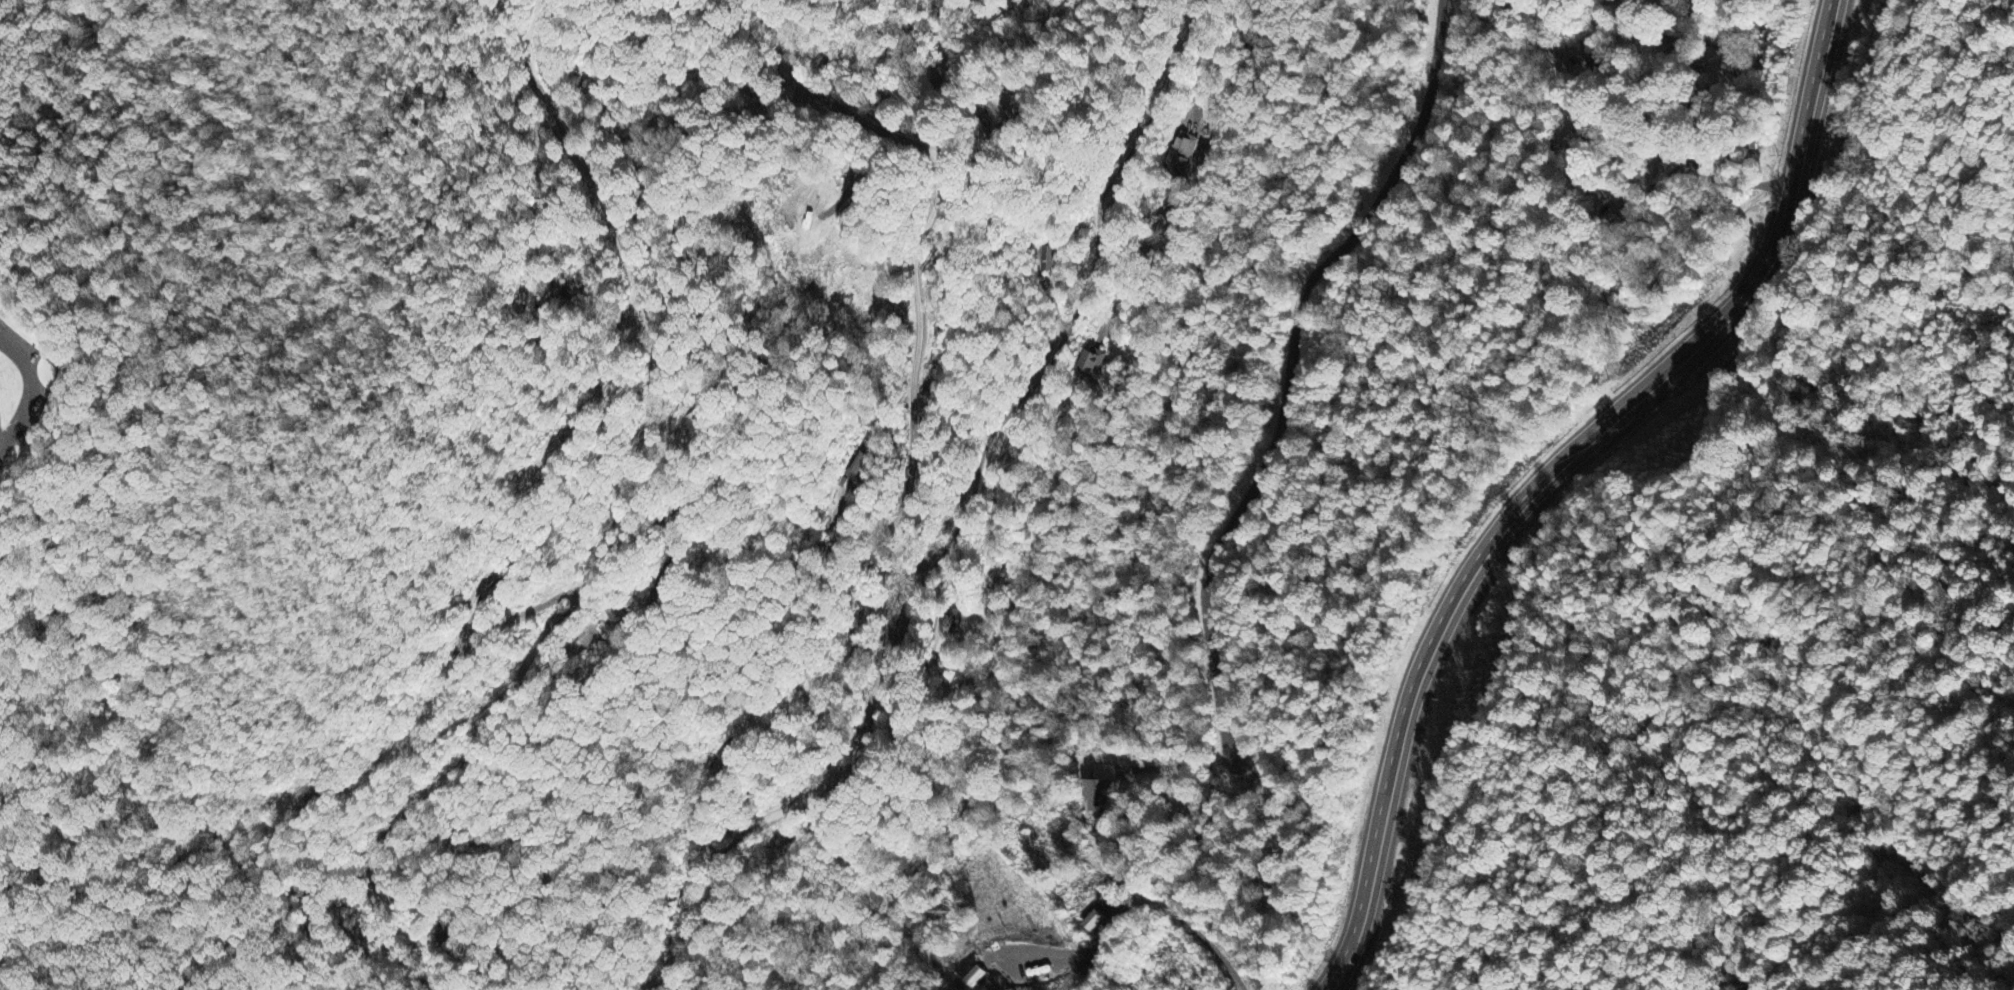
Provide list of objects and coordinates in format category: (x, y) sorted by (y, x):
road: (1607, 112)
building: (1185, 152)
building: (1053, 260)
parking lot: (16, 347)
building: (1093, 363)
road: (1290, 368)
road: (28, 390)
road: (1023, 398)
parking lot: (24, 410)
building: (859, 466)
road: (1560, 474)
road: (906, 494)
road: (615, 530)
building: (1098, 790)
building: (1093, 921)

